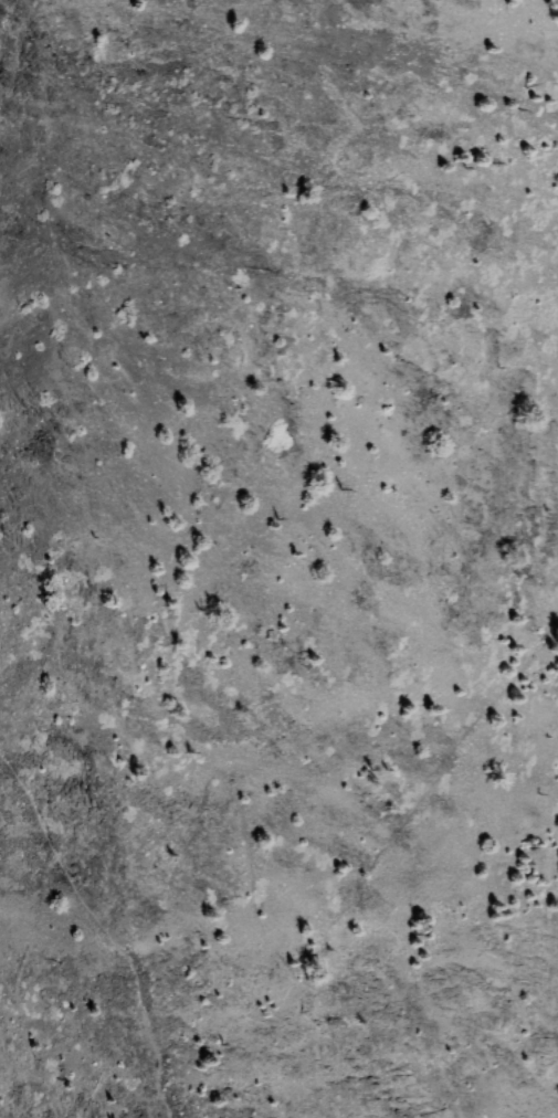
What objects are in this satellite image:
road: (32, 781)
road: (80, 907)
road: (33, 939)
road: (298, 992)
road: (138, 1040)

